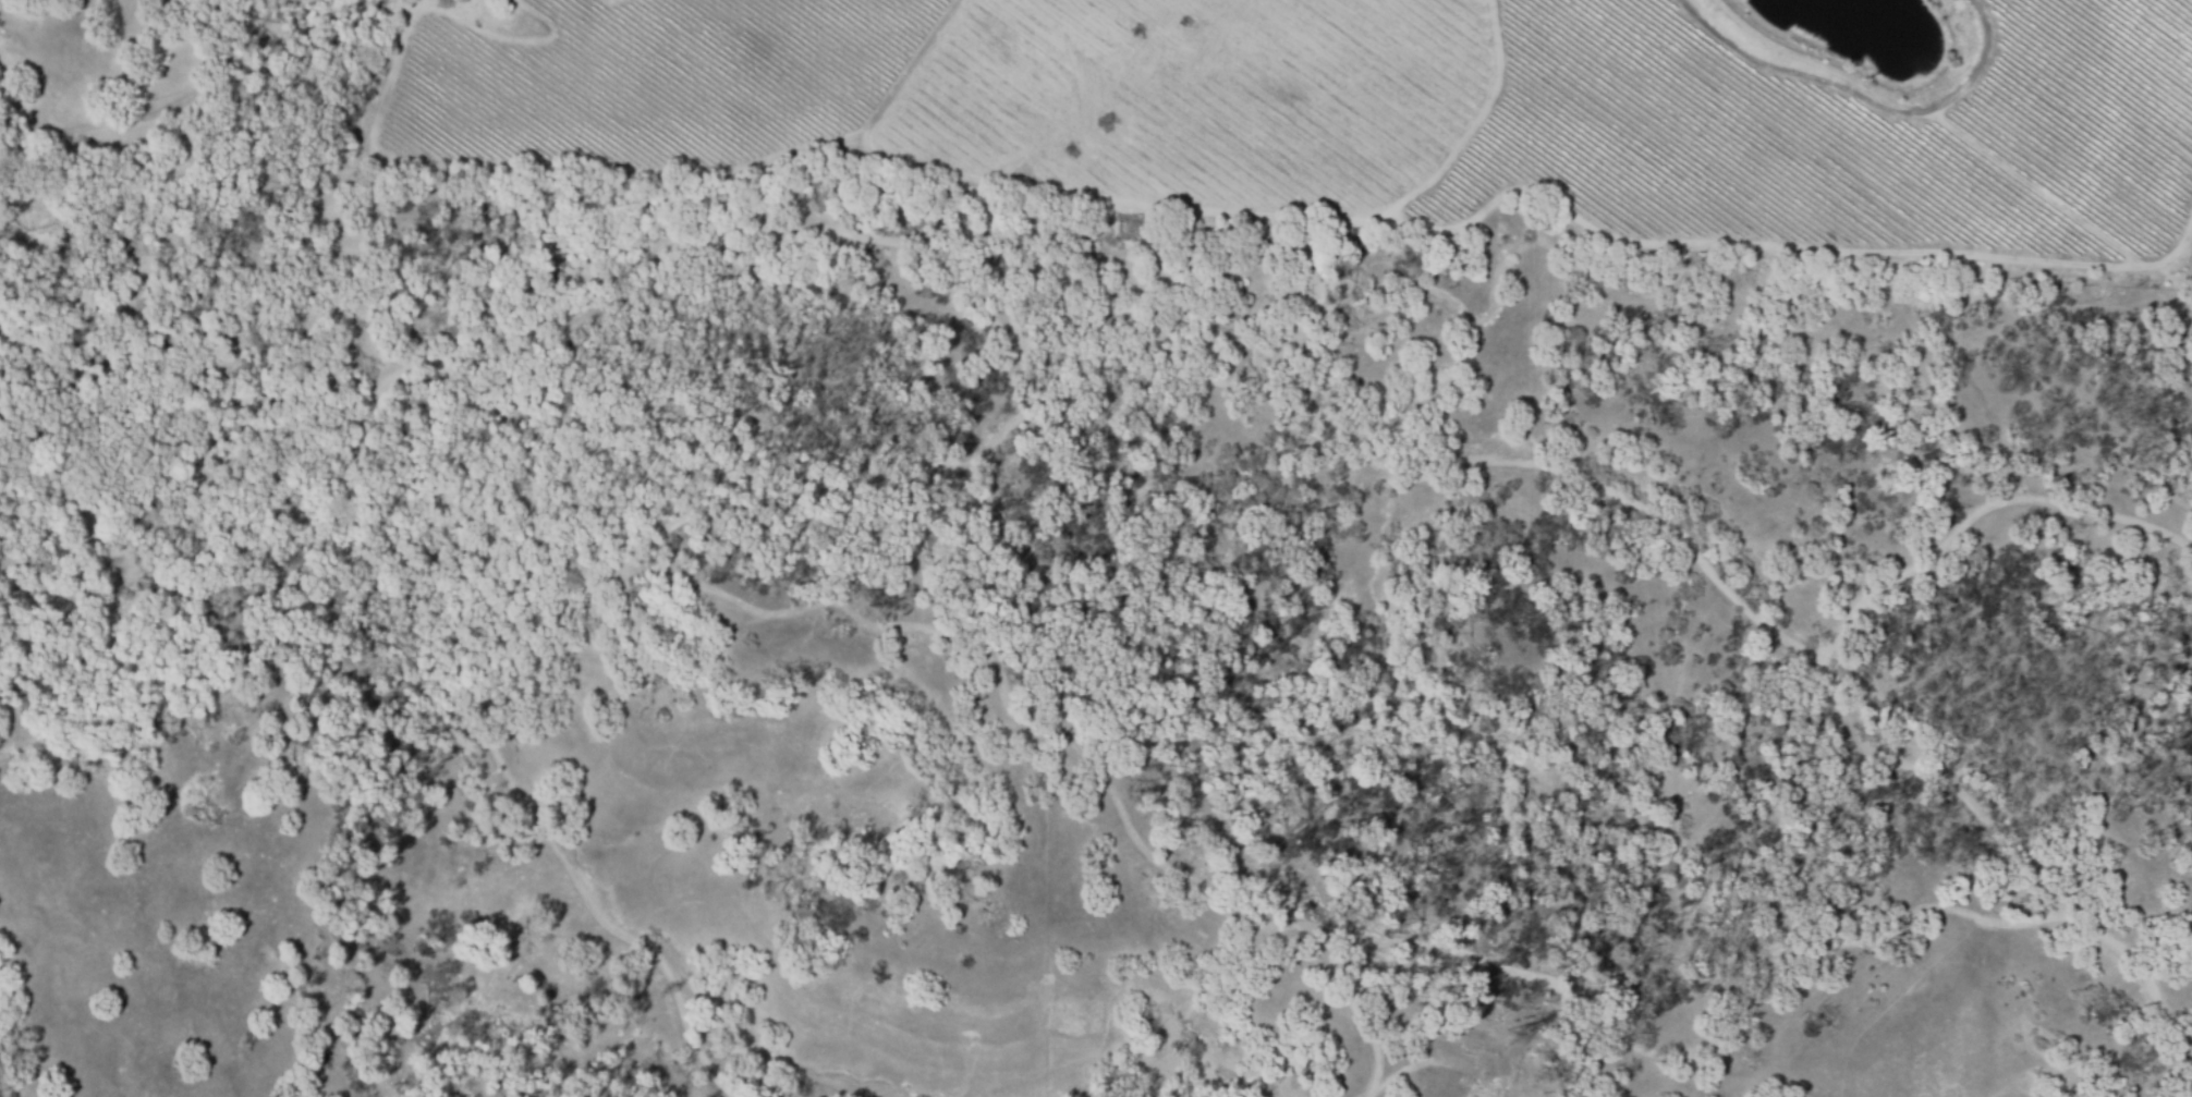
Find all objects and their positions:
power tower: (1529, 1038)

